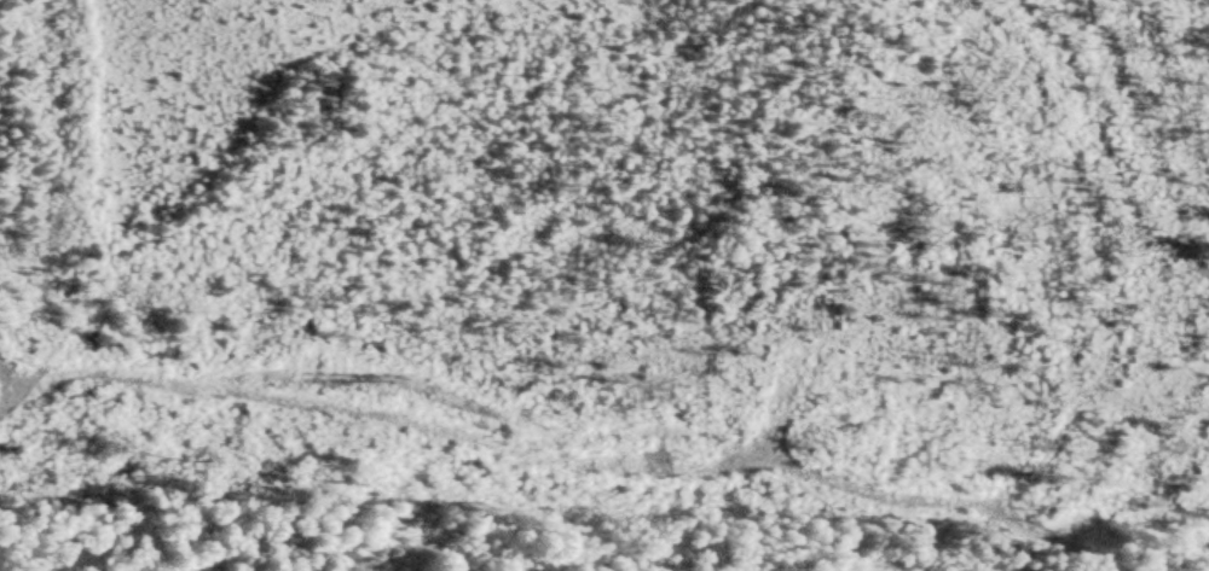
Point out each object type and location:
road: (93, 181)

